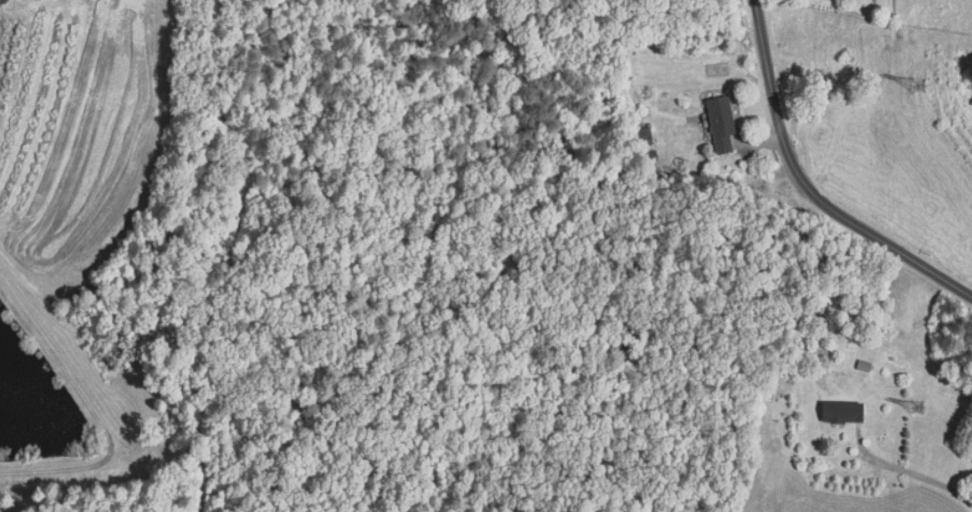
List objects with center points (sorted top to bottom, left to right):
power tower: (919, 86)
building: (722, 124)
building: (644, 136)
road: (812, 182)
building: (863, 364)
building: (967, 390)
power tower: (914, 406)
building: (841, 411)
road: (905, 470)

